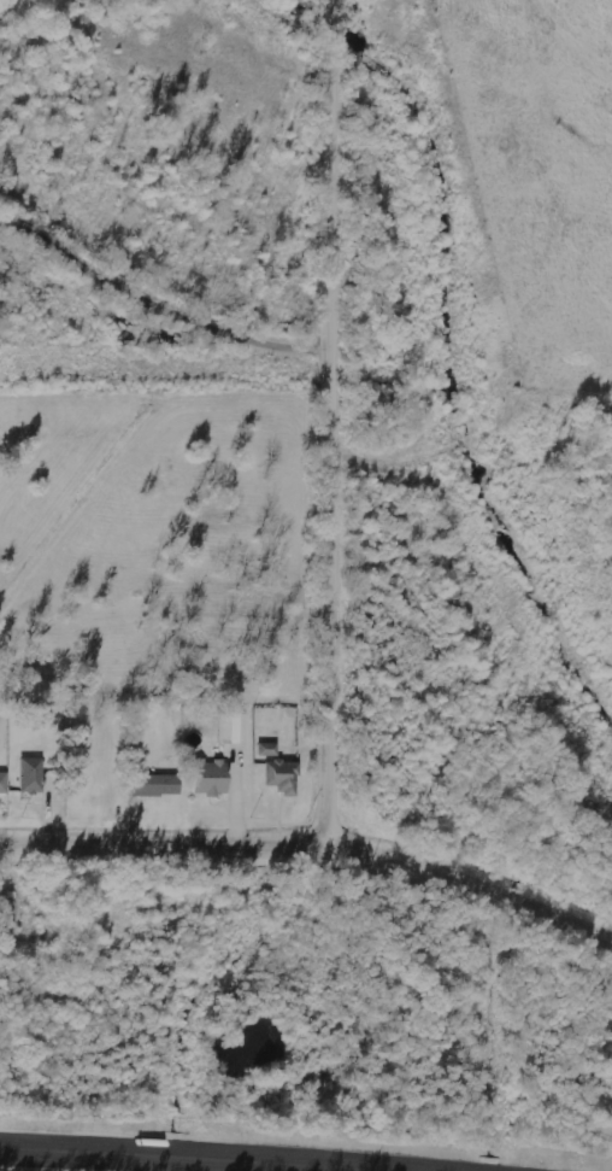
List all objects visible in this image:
road: (159, 295)
road: (329, 417)
building: (234, 728)
building: (267, 750)
building: (33, 775)
building: (283, 777)
building: (211, 778)
building: (4, 783)
building: (155, 785)
road: (313, 836)
road: (159, 1158)

